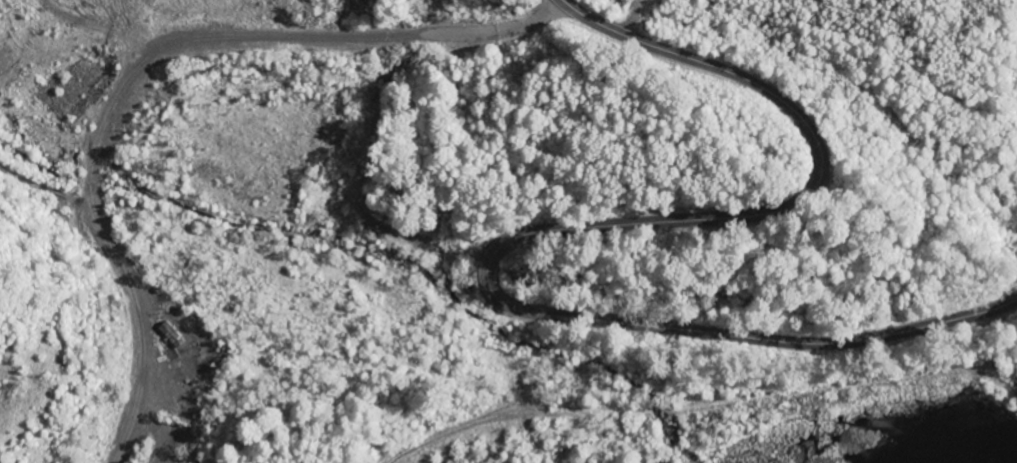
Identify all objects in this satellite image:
road: (536, 230)
quarry: (149, 419)

